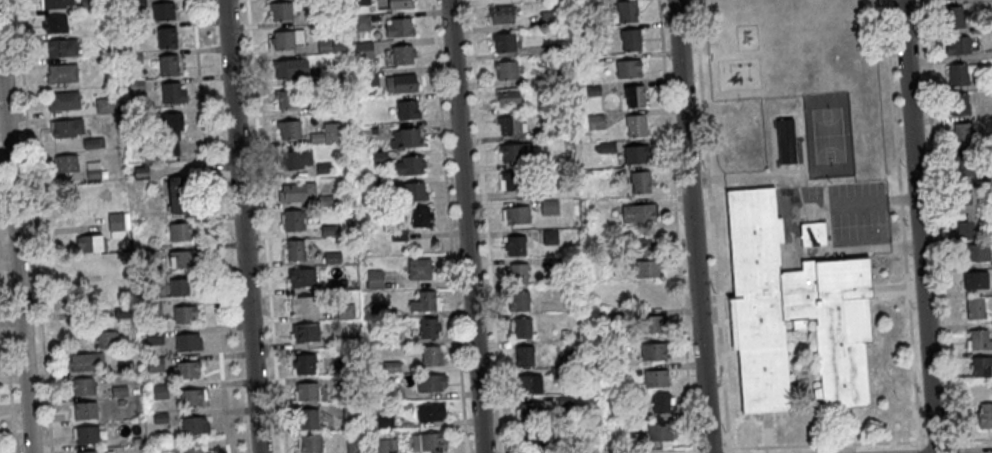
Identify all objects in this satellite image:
building: (948, 1)
building: (55, 3)
building: (399, 5)
building: (163, 10)
building: (578, 10)
building: (626, 14)
building: (280, 15)
building: (501, 18)
building: (547, 19)
building: (953, 21)
building: (54, 23)
building: (361, 25)
building: (399, 31)
building: (579, 34)
building: (166, 37)
building: (286, 42)
building: (502, 42)
building: (629, 42)
building: (59, 47)
building: (324, 48)
building: (338, 48)
building: (551, 49)
building: (956, 49)
building: (363, 52)
building: (401, 57)
building: (589, 62)
building: (169, 64)
building: (627, 67)
building: (504, 69)
building: (289, 72)
building: (61, 73)
building: (318, 76)
building: (551, 76)
building: (957, 78)
building: (367, 79)
building: (400, 87)
building: (592, 90)
building: (173, 92)
building: (506, 96)
building: (634, 96)
road: (891, 96)
building: (63, 100)
building: (287, 103)
building: (105, 105)
building: (958, 107)
building: (316, 109)
building: (406, 113)
building: (594, 121)
building: (508, 125)
building: (634, 125)
building: (66, 127)
building: (540, 132)
building: (288, 133)
building: (171, 134)
park: (826, 134)
building: (329, 136)
building: (963, 139)
building: (785, 140)
building: (409, 141)
building: (95, 142)
building: (605, 145)
building: (510, 153)
building: (634, 153)
building: (379, 160)
building: (295, 162)
building: (65, 163)
building: (94, 169)
building: (407, 169)
building: (963, 169)
building: (323, 170)
road: (719, 176)
building: (505, 179)
building: (639, 181)
building: (380, 186)
building: (537, 191)
building: (179, 194)
building: (297, 195)
building: (414, 195)
road: (899, 196)
road: (873, 199)
building: (966, 199)
building: (324, 202)
building: (547, 208)
building: (636, 212)
building: (515, 215)
building: (420, 220)
road: (901, 220)
building: (118, 221)
building: (294, 223)
road: (709, 223)
road: (33, 226)
road: (210, 226)
road: (241, 226)
road: (264, 226)
road: (448, 226)
road: (465, 226)
road: (484, 226)
road: (674, 226)
road: (691, 226)
road: (918, 226)
road: (938, 226)
parking lot: (857, 227)
road: (17, 230)
building: (179, 231)
building: (327, 232)
building: (965, 233)
building: (812, 234)
building: (397, 236)
building: (548, 237)
building: (89, 243)
road: (902, 243)
building: (514, 246)
building: (641, 246)
road: (857, 247)
building: (294, 253)
building: (975, 257)
building: (181, 259)
building: (332, 260)
building: (558, 264)
building: (418, 268)
building: (645, 270)
building: (516, 273)
building: (302, 280)
building: (373, 280)
building: (975, 284)
building: (180, 286)
building: (338, 287)
building: (566, 293)
building: (649, 295)
building: (425, 299)
building: (517, 301)
building: (304, 307)
building: (793, 309)
building: (375, 310)
building: (974, 313)
building: (186, 314)
building: (345, 314)
building: (602, 320)
building: (650, 326)
building: (427, 327)
building: (521, 328)
building: (306, 336)
building: (154, 337)
building: (105, 339)
building: (390, 339)
building: (188, 341)
building: (338, 341)
road: (910, 344)
building: (977, 345)
building: (652, 353)
building: (572, 354)
road: (7, 355)
building: (430, 355)
building: (522, 357)
building: (84, 361)
building: (302, 364)
building: (390, 367)
building: (184, 369)
building: (980, 371)
building: (556, 373)
building: (653, 379)
building: (429, 382)
building: (527, 385)
building: (82, 386)
building: (304, 392)
building: (391, 393)
building: (192, 397)
building: (563, 401)
building: (659, 402)
building: (84, 410)
building: (429, 412)
building: (531, 412)
building: (350, 413)
building: (307, 418)
building: (383, 420)
building: (984, 420)
building: (194, 424)
building: (658, 432)
building: (85, 434)
building: (533, 438)
road: (973, 438)
road: (936, 439)
building: (431, 442)
building: (309, 443)
building: (577, 443)
road: (822, 443)
building: (354, 445)
building: (385, 446)
road: (724, 446)
road: (918, 446)
road: (709, 447)
road: (695, 448)
building: (195, 449)
road: (727, 449)
road: (624, 450)
building: (95, 451)
road: (728, 452)

